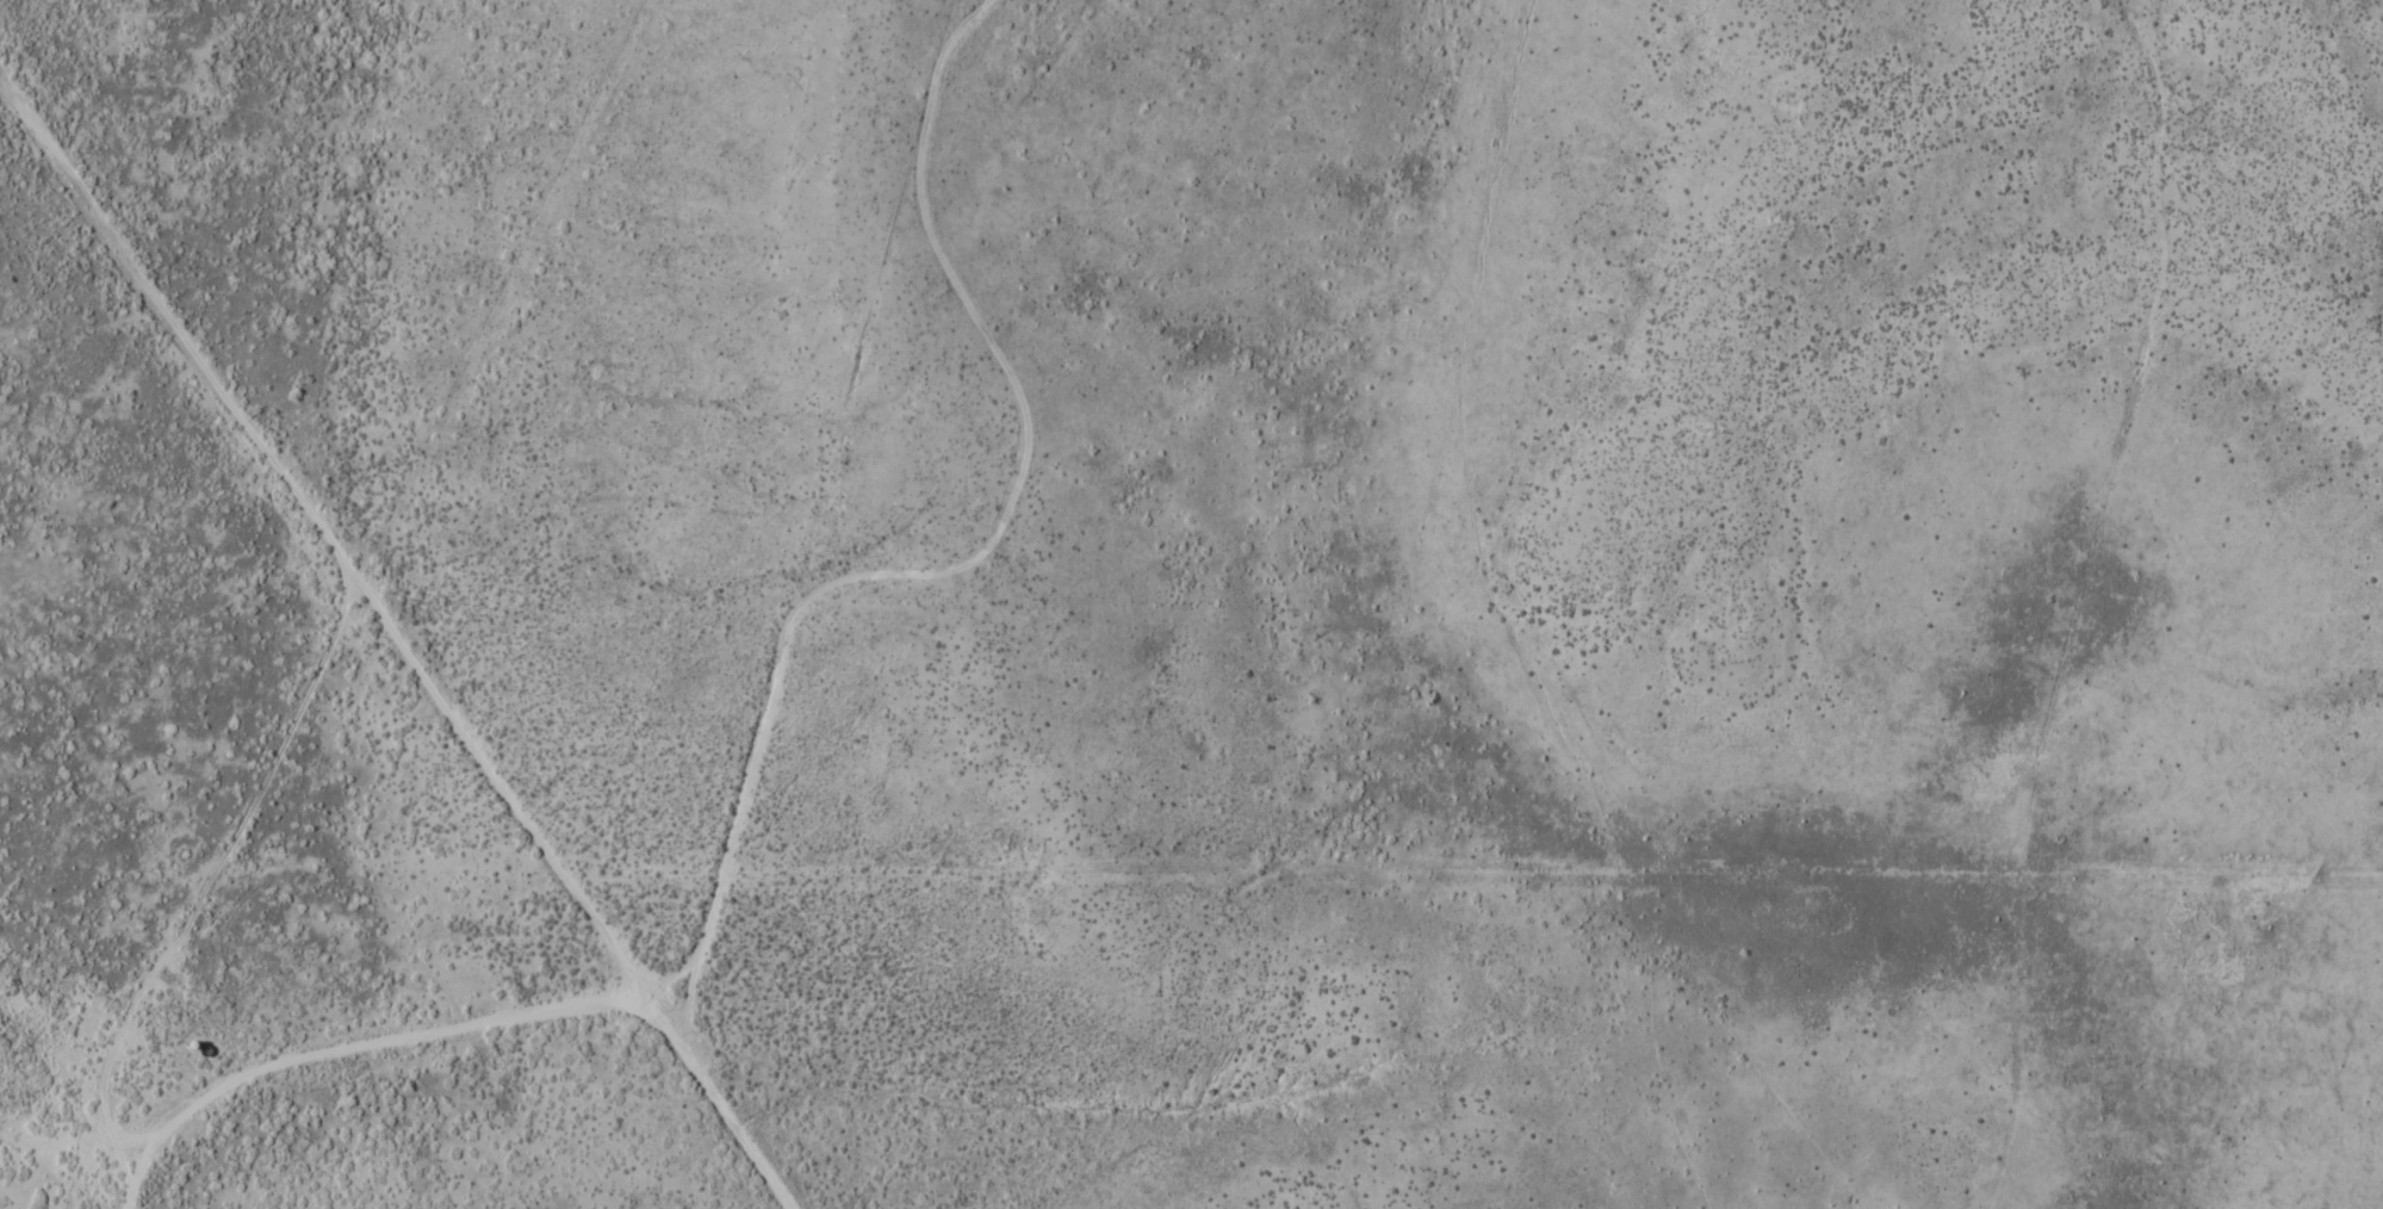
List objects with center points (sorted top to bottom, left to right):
road: (385, 537)
road: (345, 550)
road: (860, 575)
road: (342, 1048)

